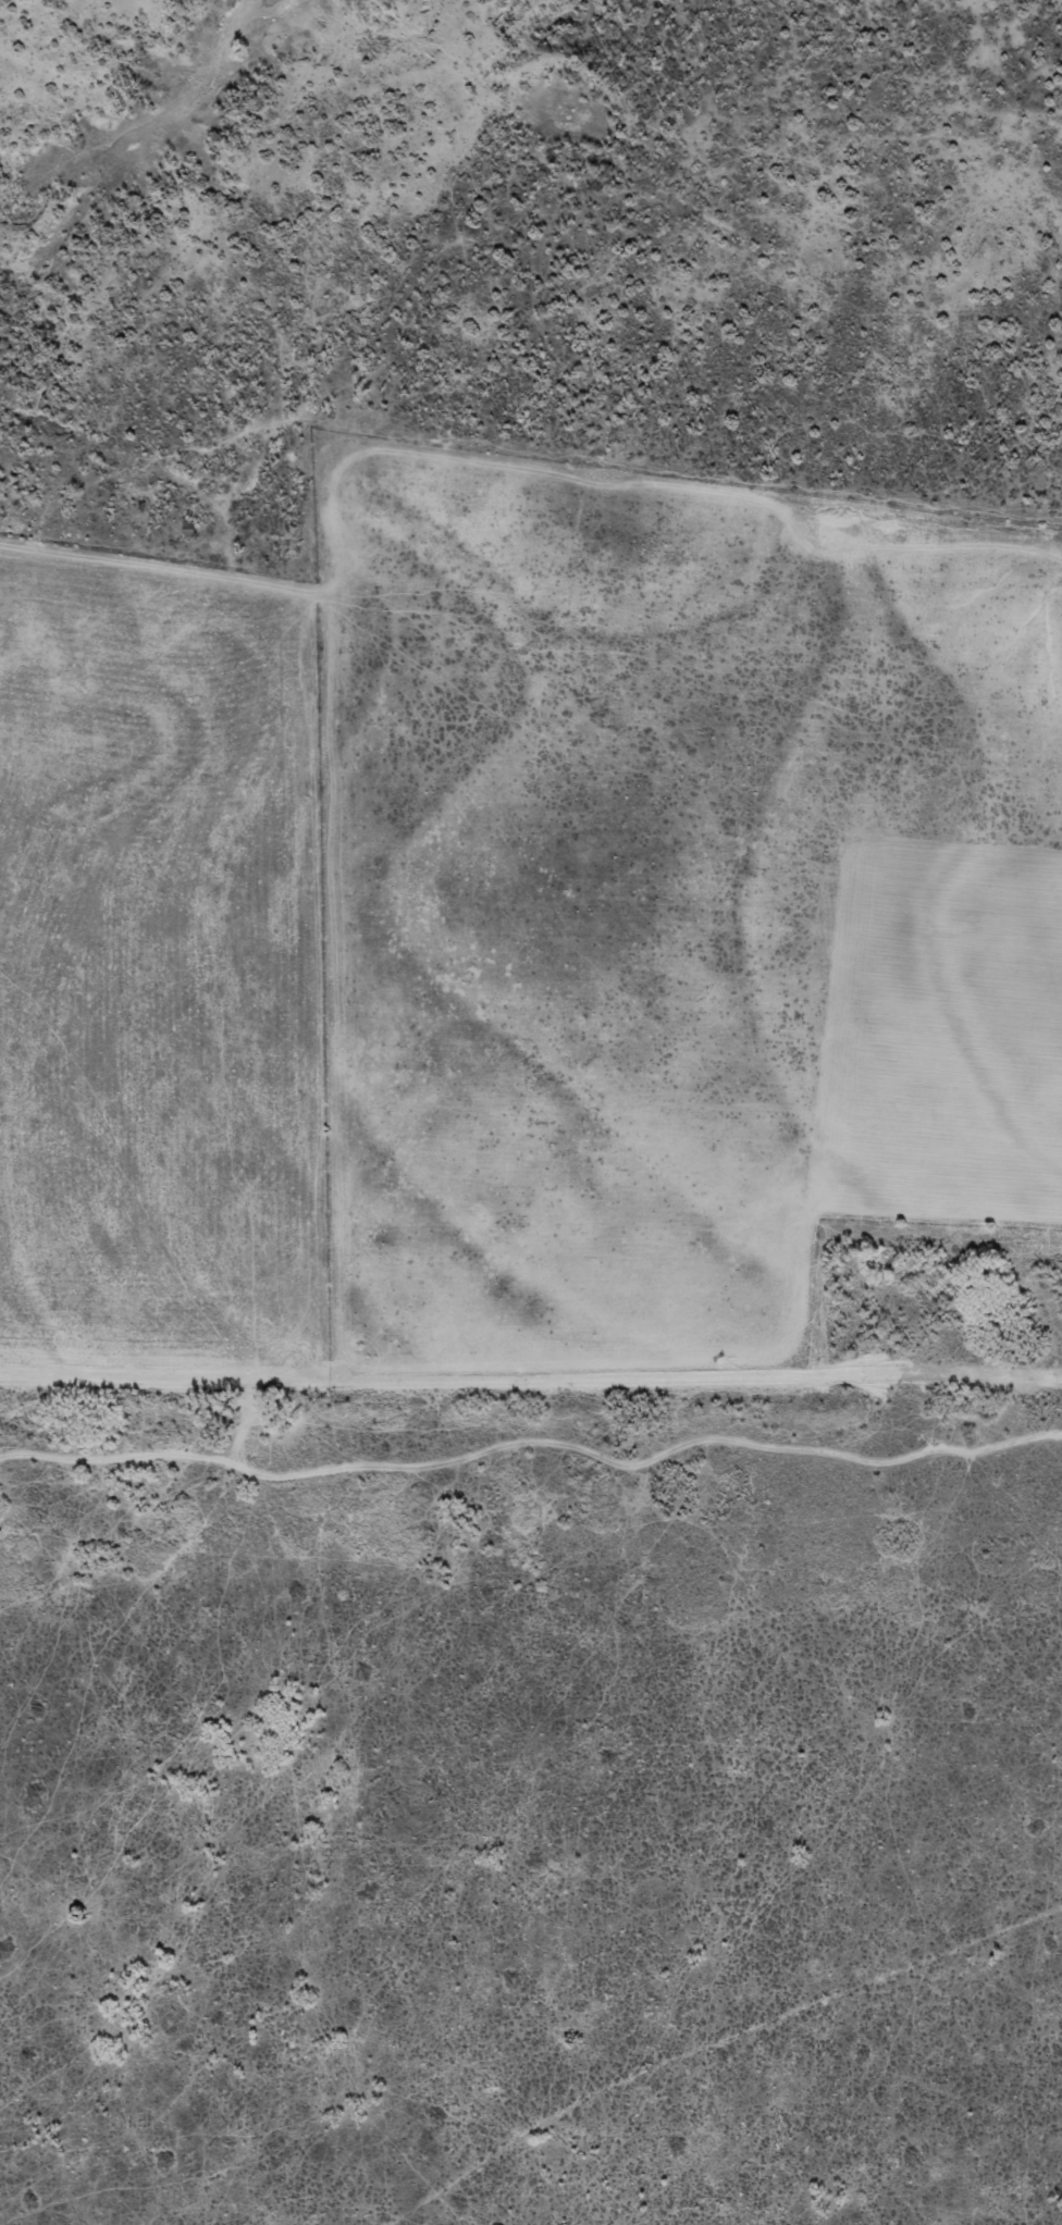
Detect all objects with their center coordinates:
road: (141, 473)
road: (530, 1453)

